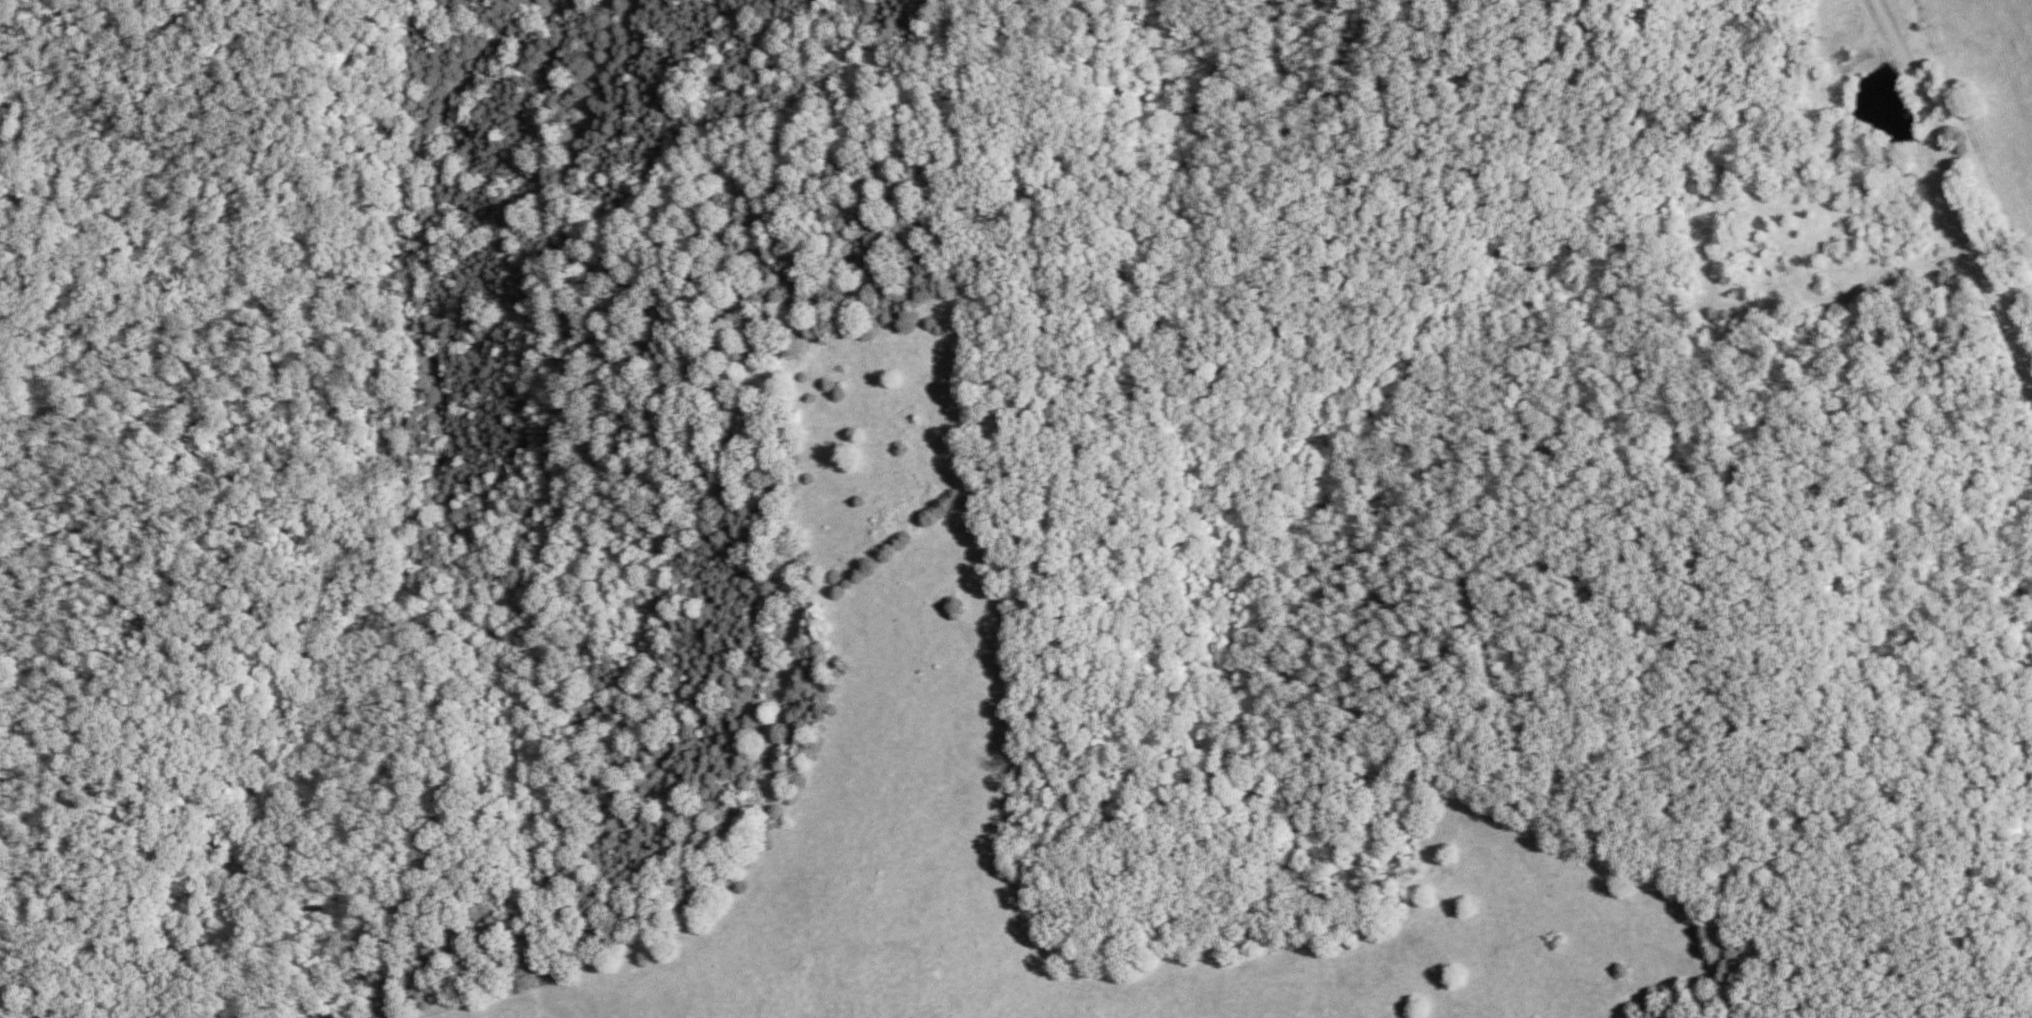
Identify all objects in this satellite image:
road: (1961, 196)

